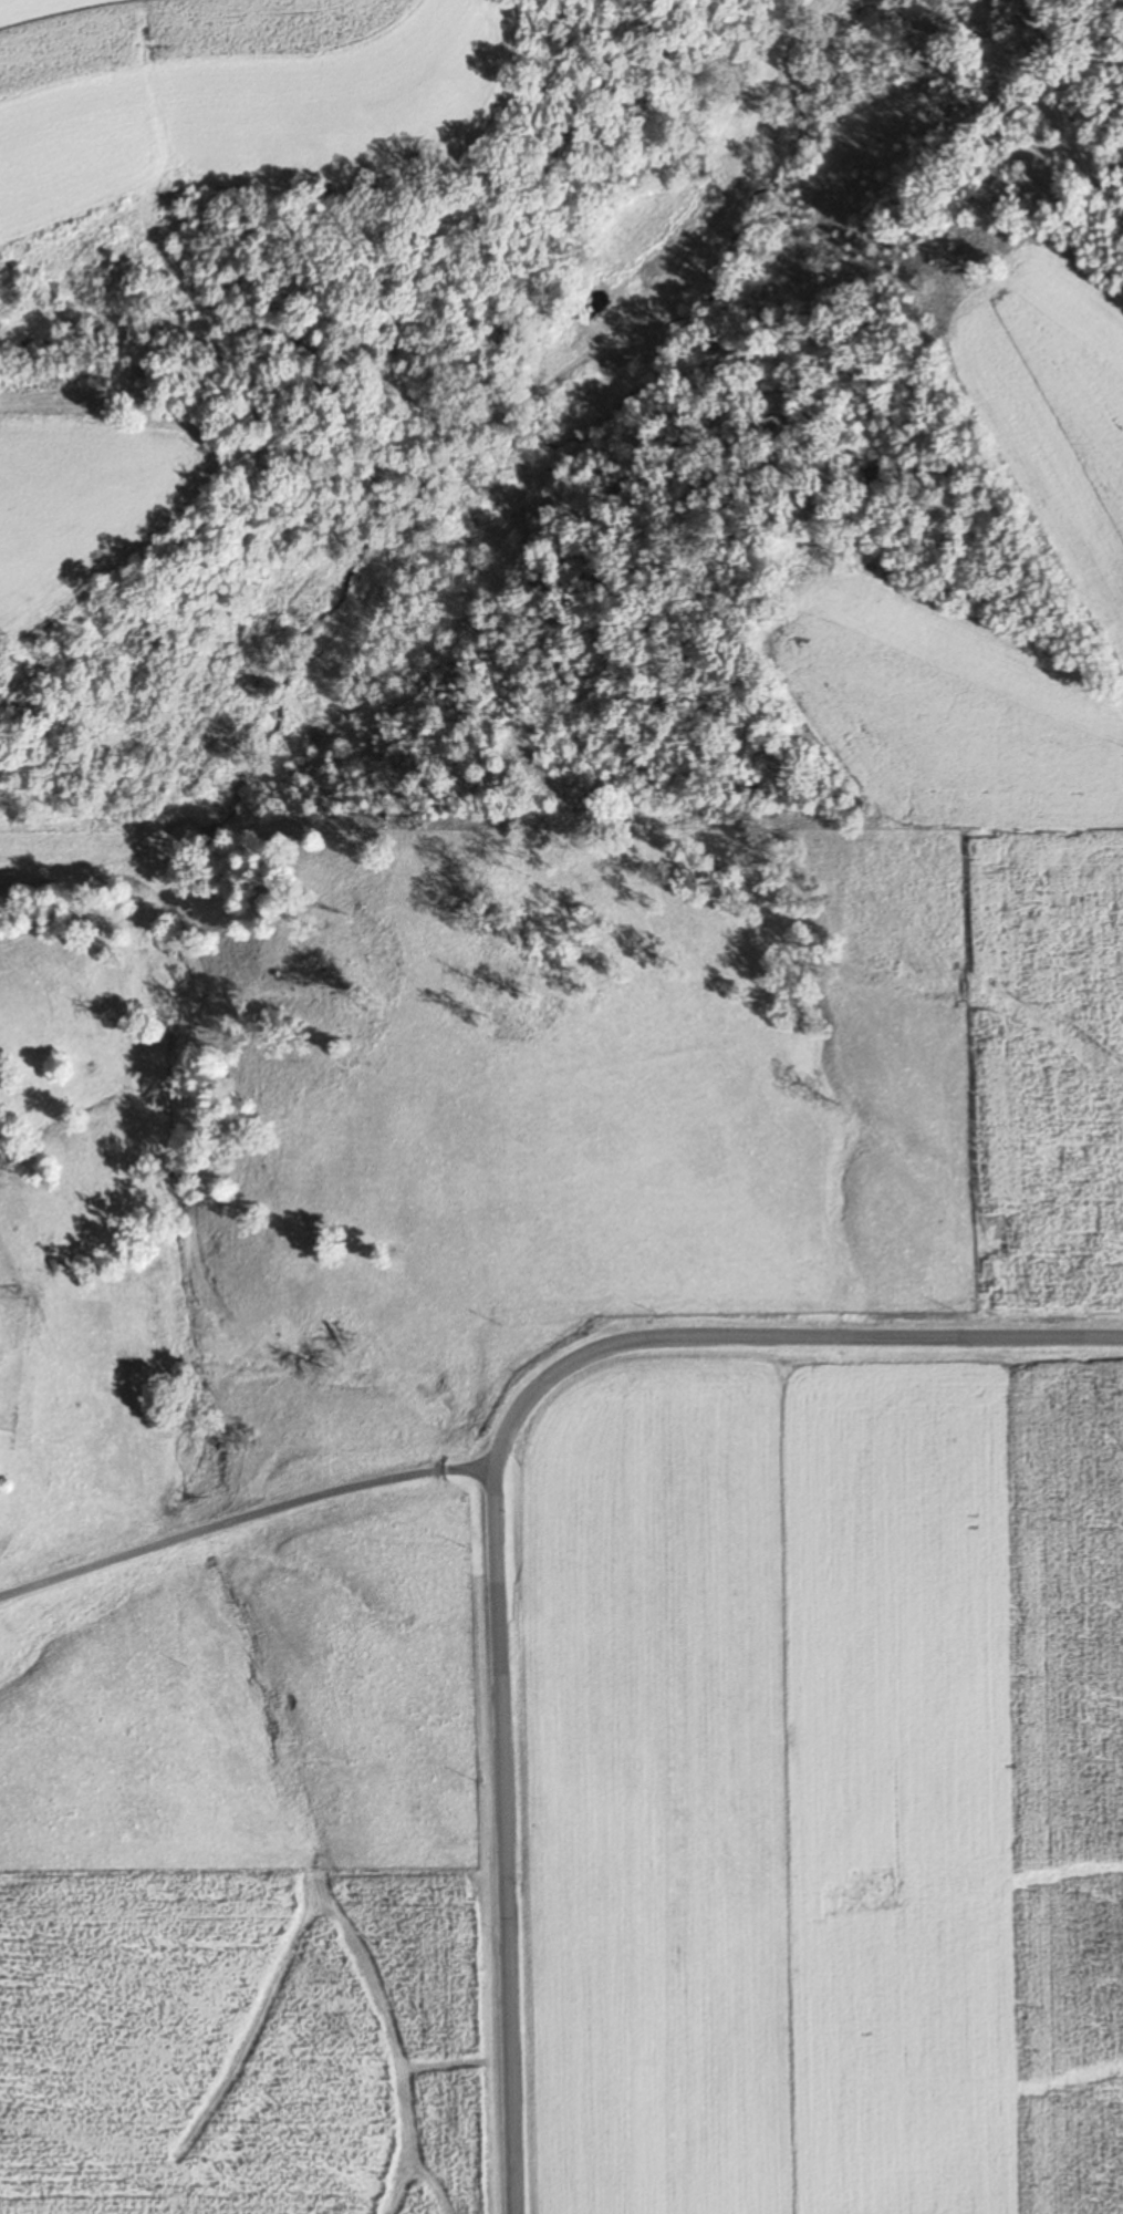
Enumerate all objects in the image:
road: (493, 1494)
road: (246, 1514)

